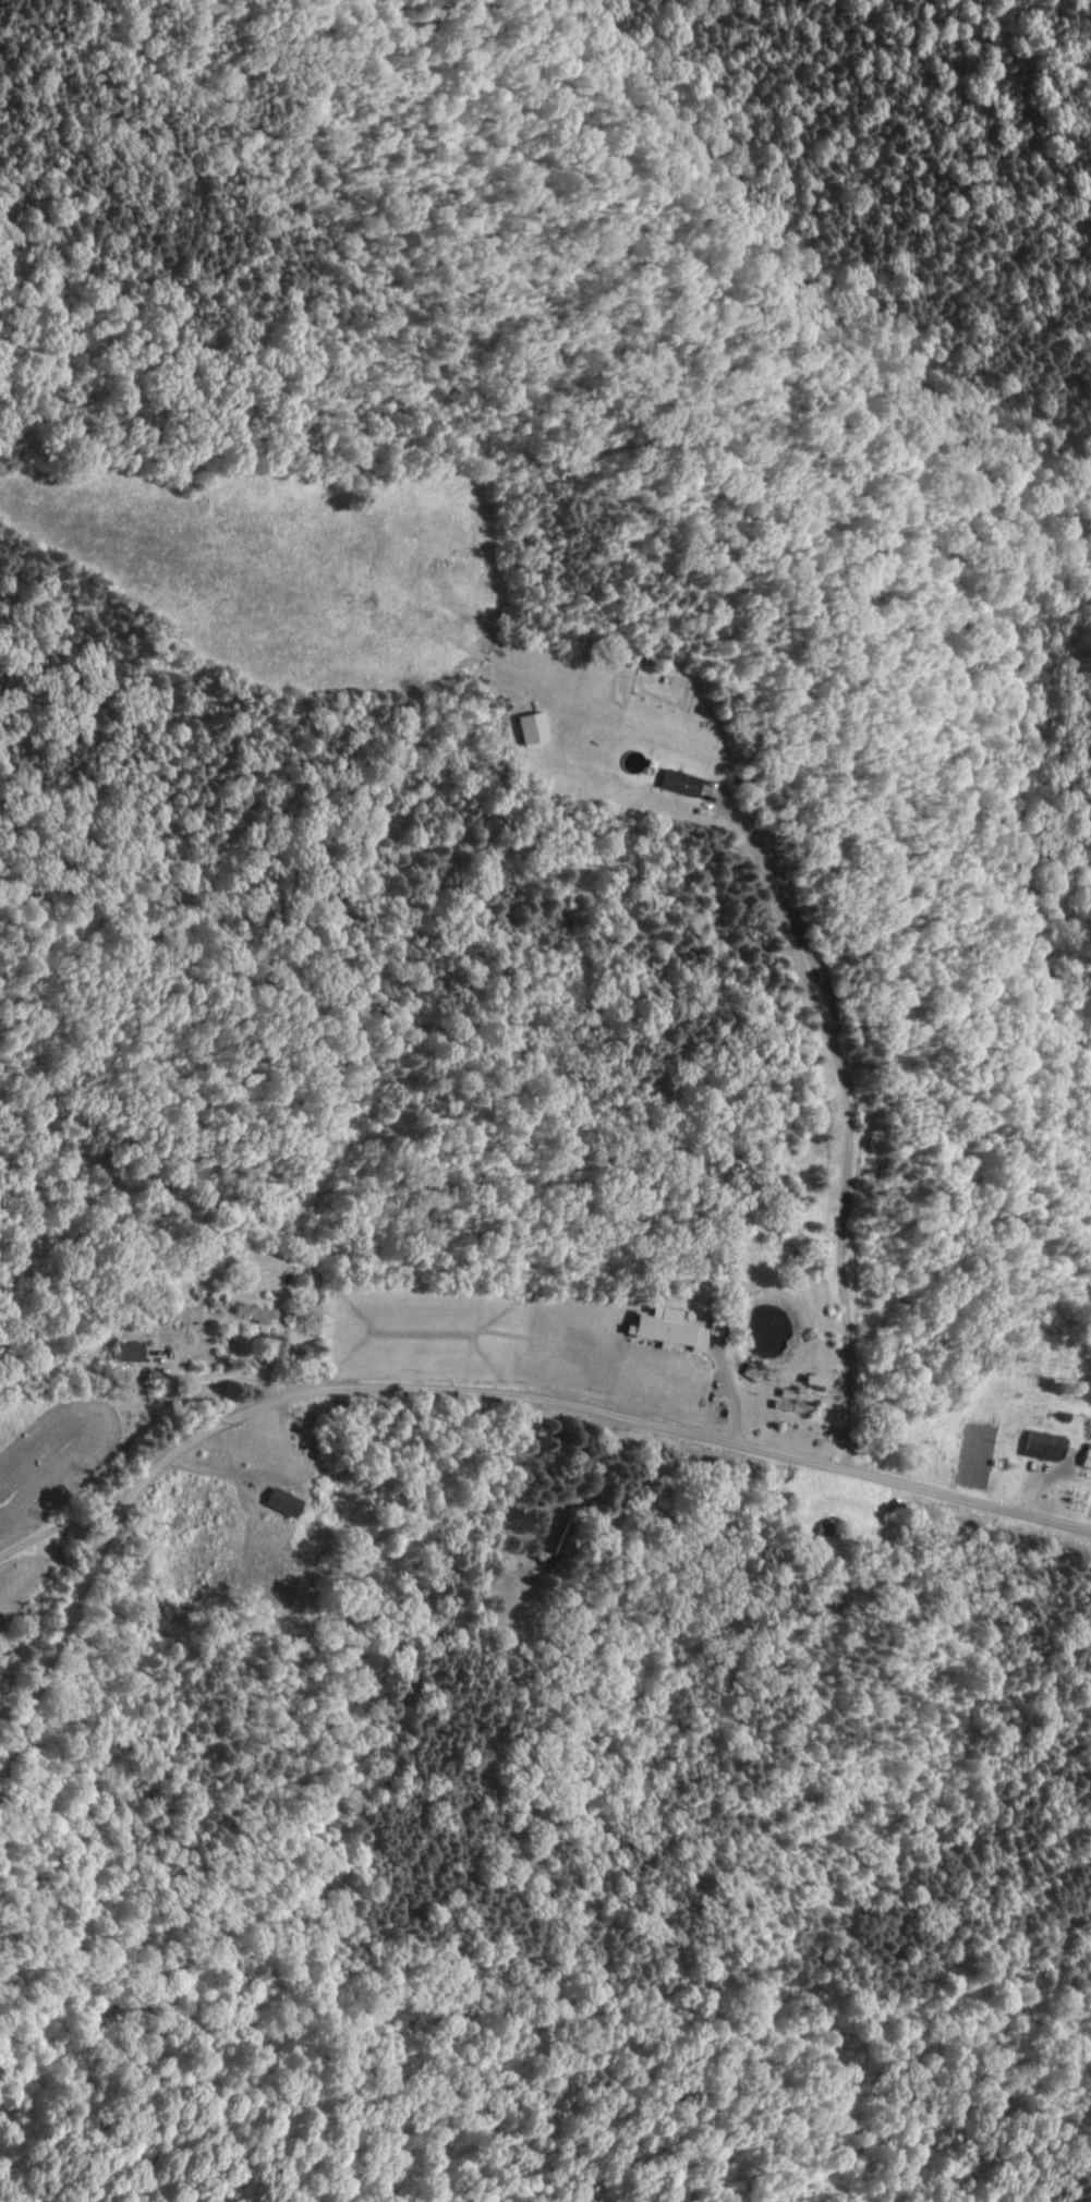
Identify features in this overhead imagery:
building: (528, 728)
building: (676, 783)
building: (664, 1330)
building: (124, 1353)
road: (223, 1362)
road: (446, 1382)
building: (1040, 1448)
building: (1084, 1457)
building: (279, 1504)

